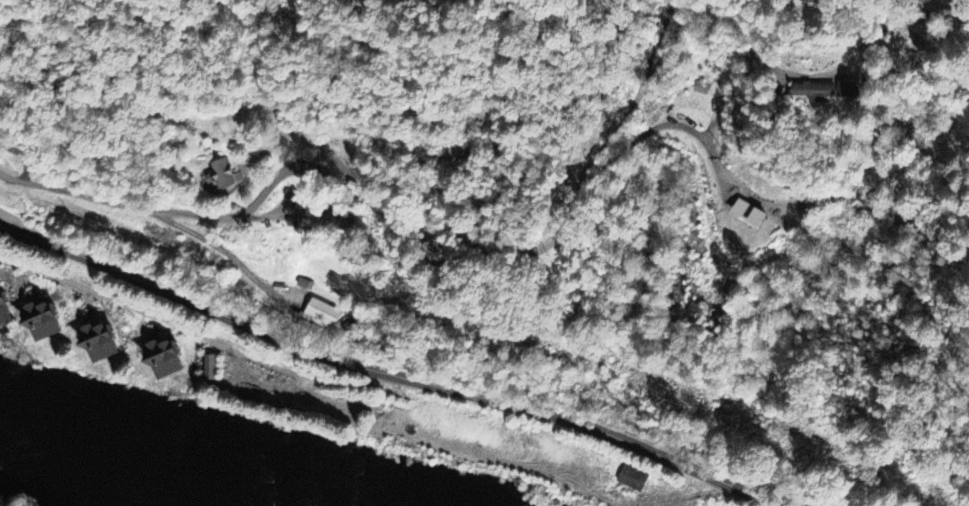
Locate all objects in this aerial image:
building: (814, 2)
building: (849, 91)
building: (815, 93)
building: (392, 148)
road: (696, 165)
building: (224, 176)
road: (412, 179)
building: (796, 208)
road: (14, 219)
building: (338, 222)
building: (435, 254)
building: (4, 310)
building: (323, 315)
building: (43, 321)
building: (100, 343)
building: (165, 359)
building: (210, 368)
road: (385, 374)
river: (153, 464)
building: (633, 479)

